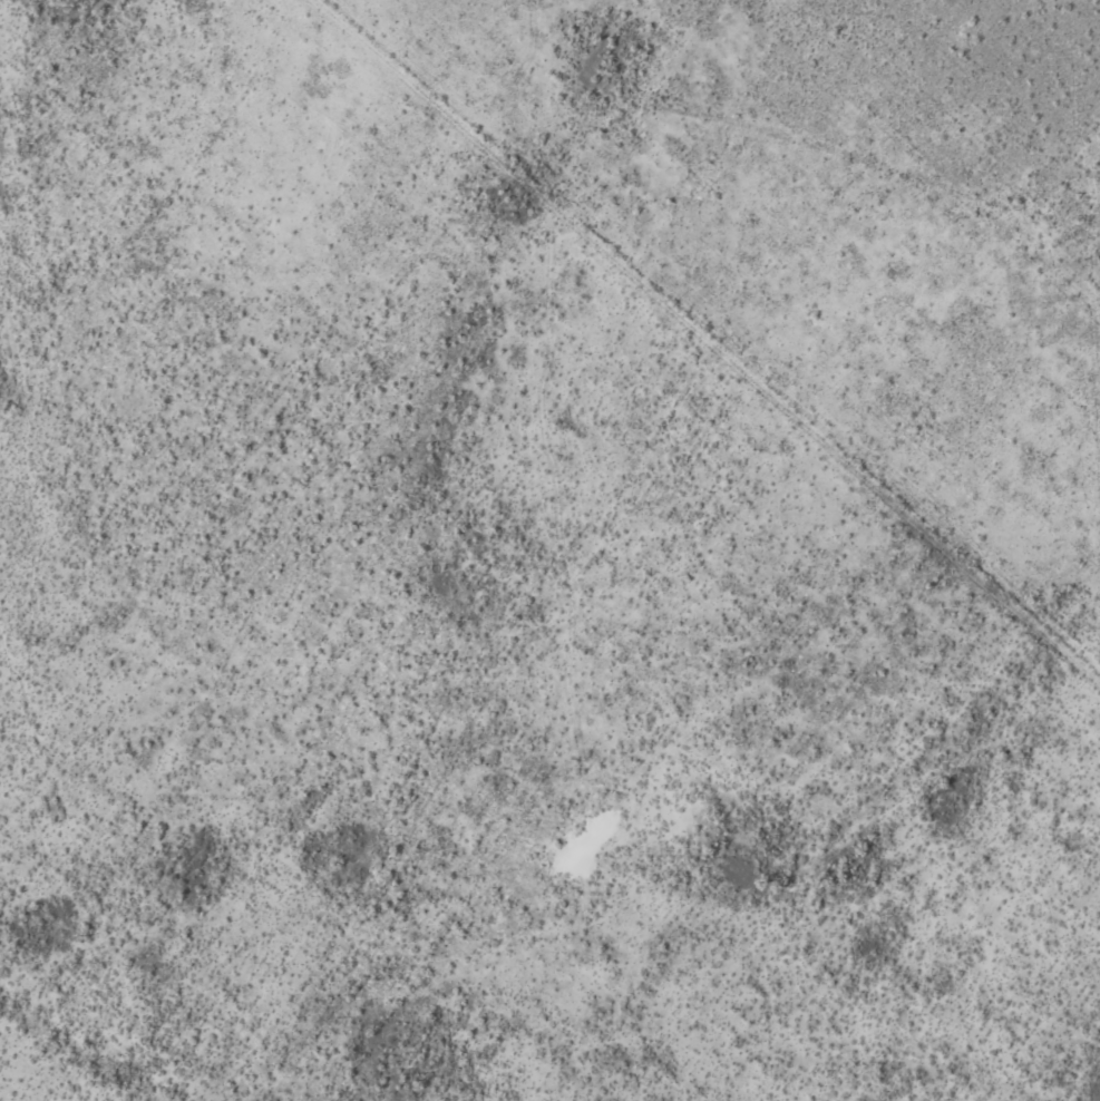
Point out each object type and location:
road: (713, 335)

